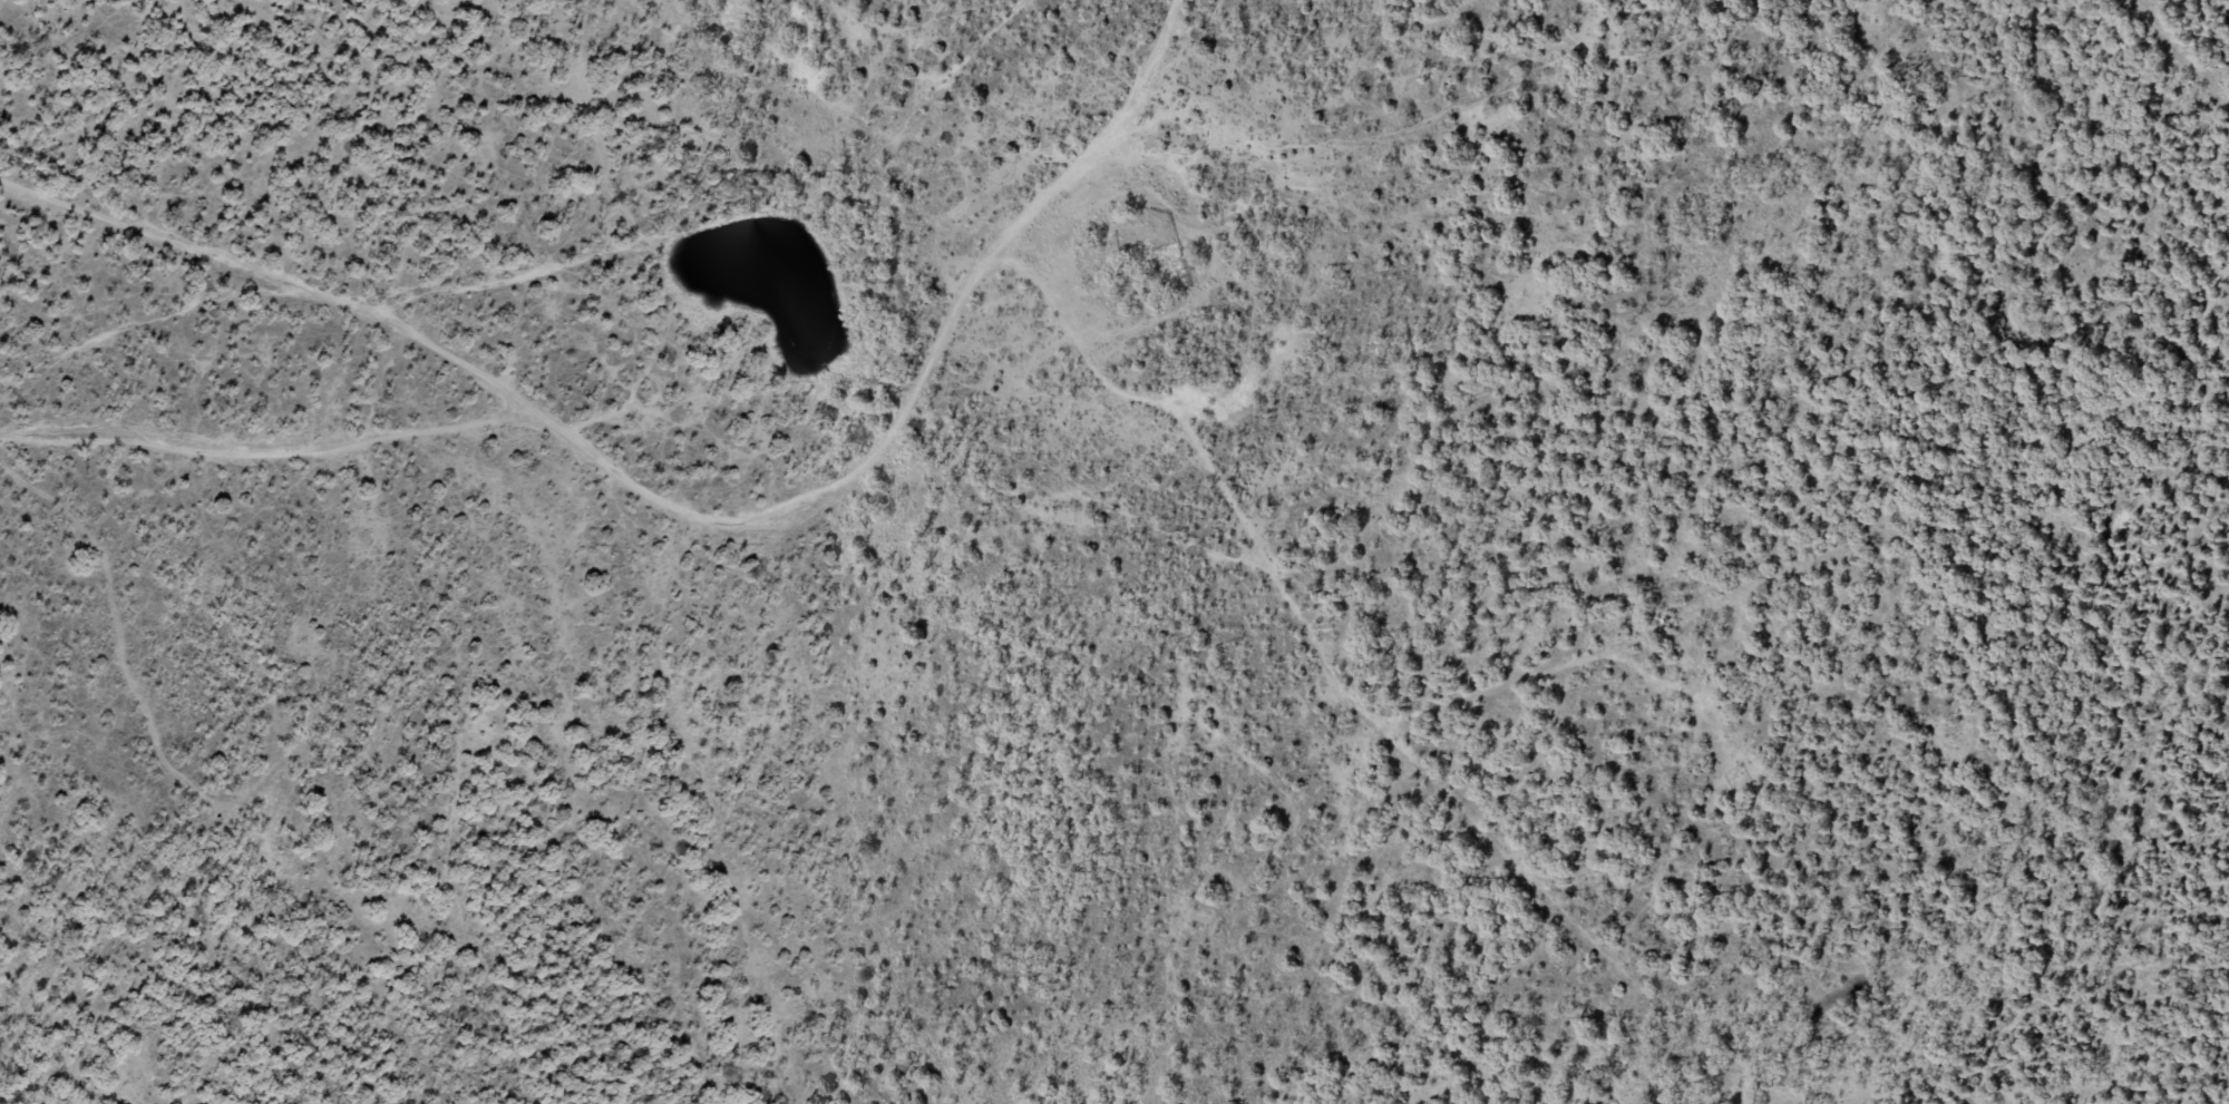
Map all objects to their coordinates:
road: (260, 267)
road: (722, 504)

